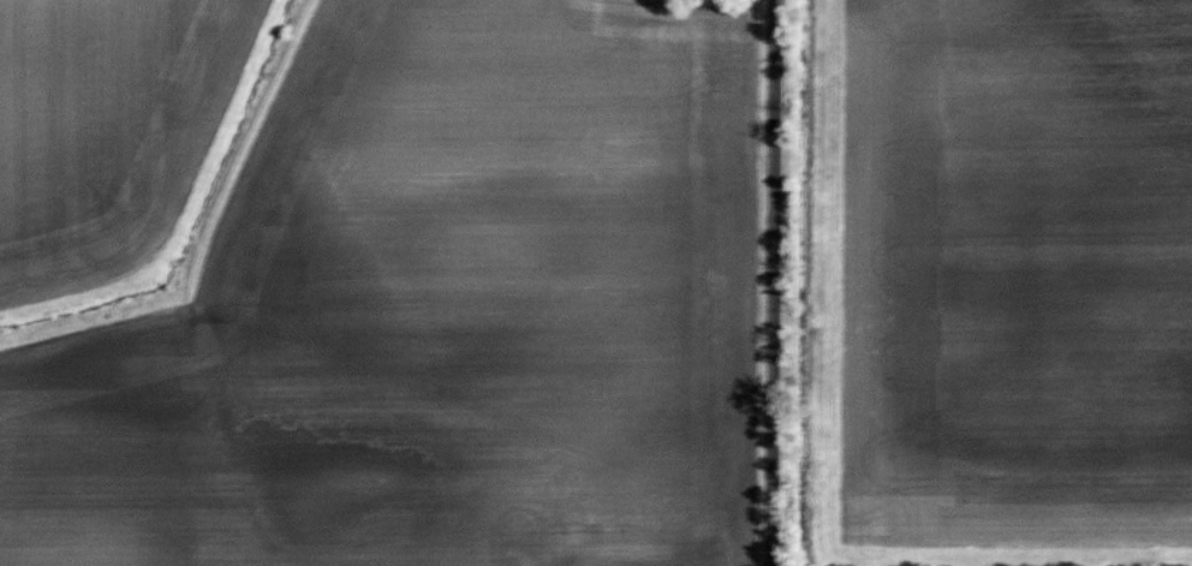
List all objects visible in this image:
road: (775, 282)

